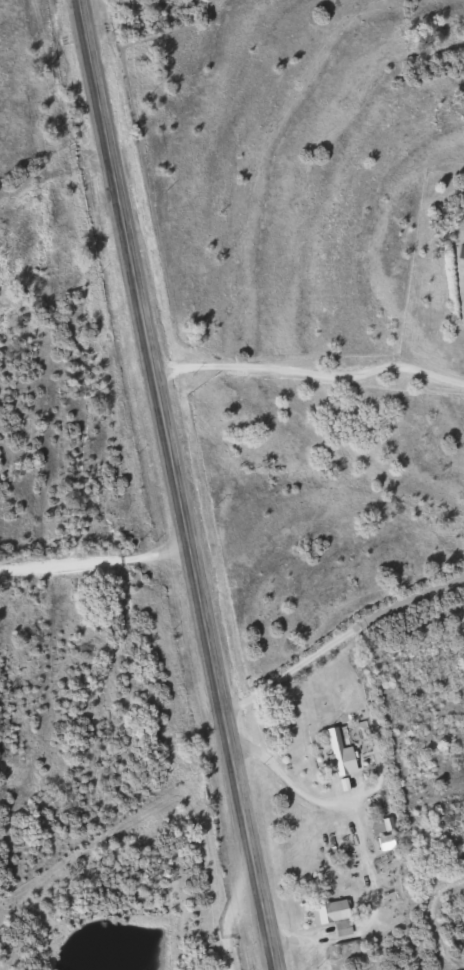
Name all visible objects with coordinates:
road: (310, 370)
road: (176, 484)
road: (94, 566)
road: (337, 639)
building: (343, 751)
building: (384, 826)
road: (360, 840)
building: (389, 843)
building: (335, 912)

